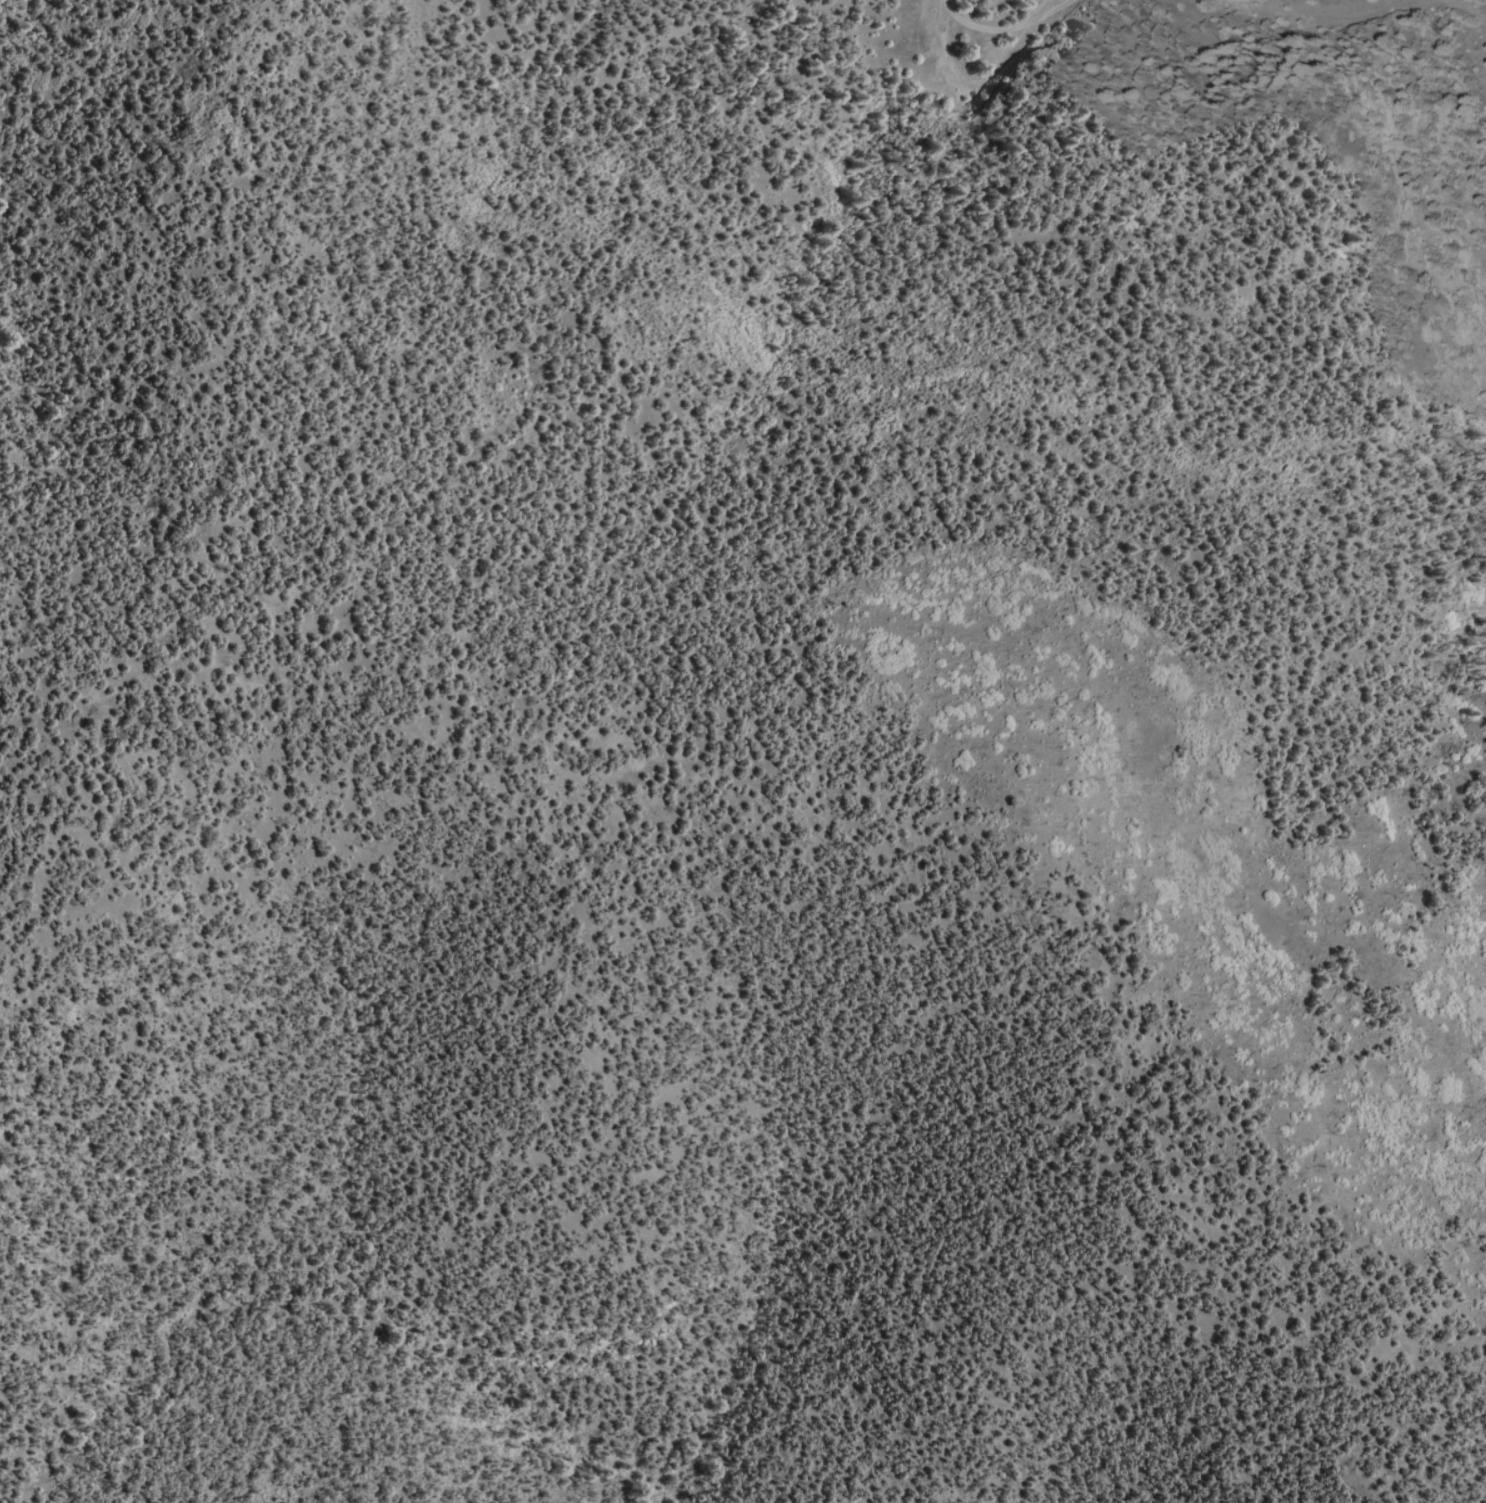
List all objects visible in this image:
road: (1466, 8)
road: (1002, 30)

